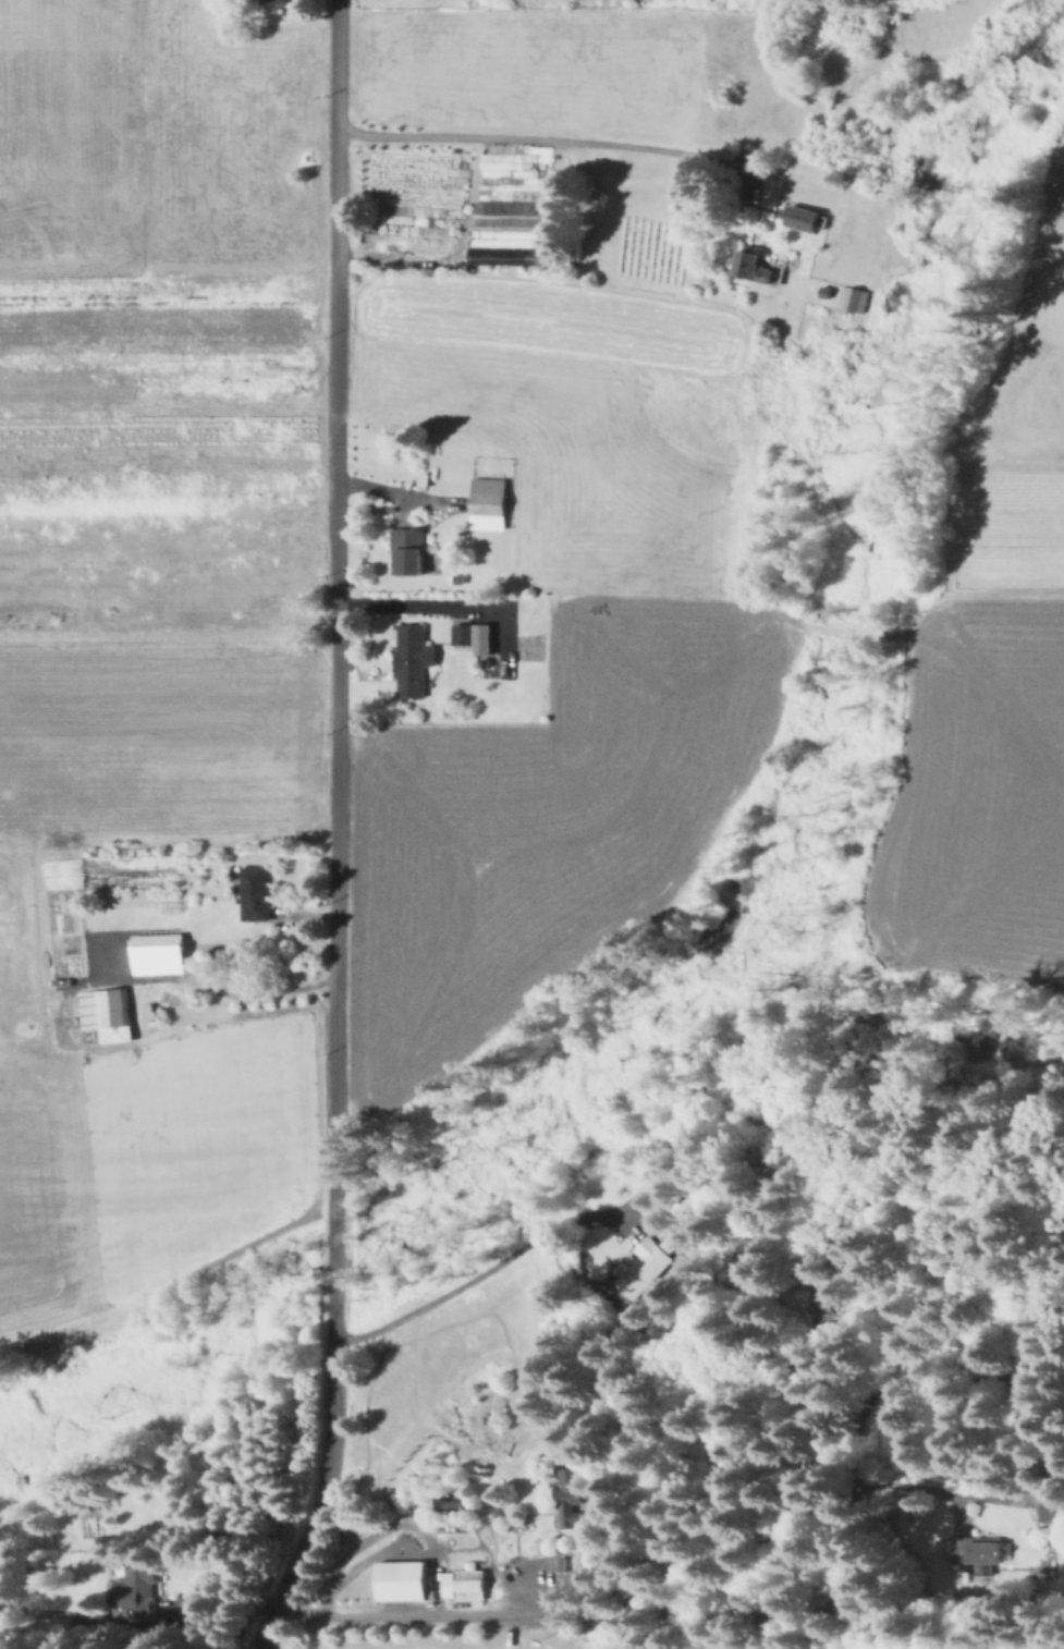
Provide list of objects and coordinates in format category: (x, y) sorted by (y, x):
building: (274, 1)
road: (539, 138)
building: (804, 218)
building: (505, 259)
building: (755, 267)
building: (825, 296)
building: (846, 302)
building: (860, 305)
road: (392, 490)
building: (490, 508)
building: (411, 548)
building: (461, 577)
crop: (151, 596)
road: (449, 602)
building: (464, 634)
building: (484, 638)
building: (414, 659)
road: (338, 831)
building: (257, 894)
building: (206, 926)
road: (219, 984)
building: (108, 1009)
road: (489, 1267)
building: (647, 1267)
building: (832, 1282)
building: (567, 1493)
building: (1054, 1503)
building: (453, 1504)
road: (485, 1523)
road: (718, 1525)
building: (979, 1552)
building: (404, 1580)
building: (472, 1585)
building: (139, 1592)
road: (225, 1593)
building: (56, 1625)
crop: (713, 1646)

